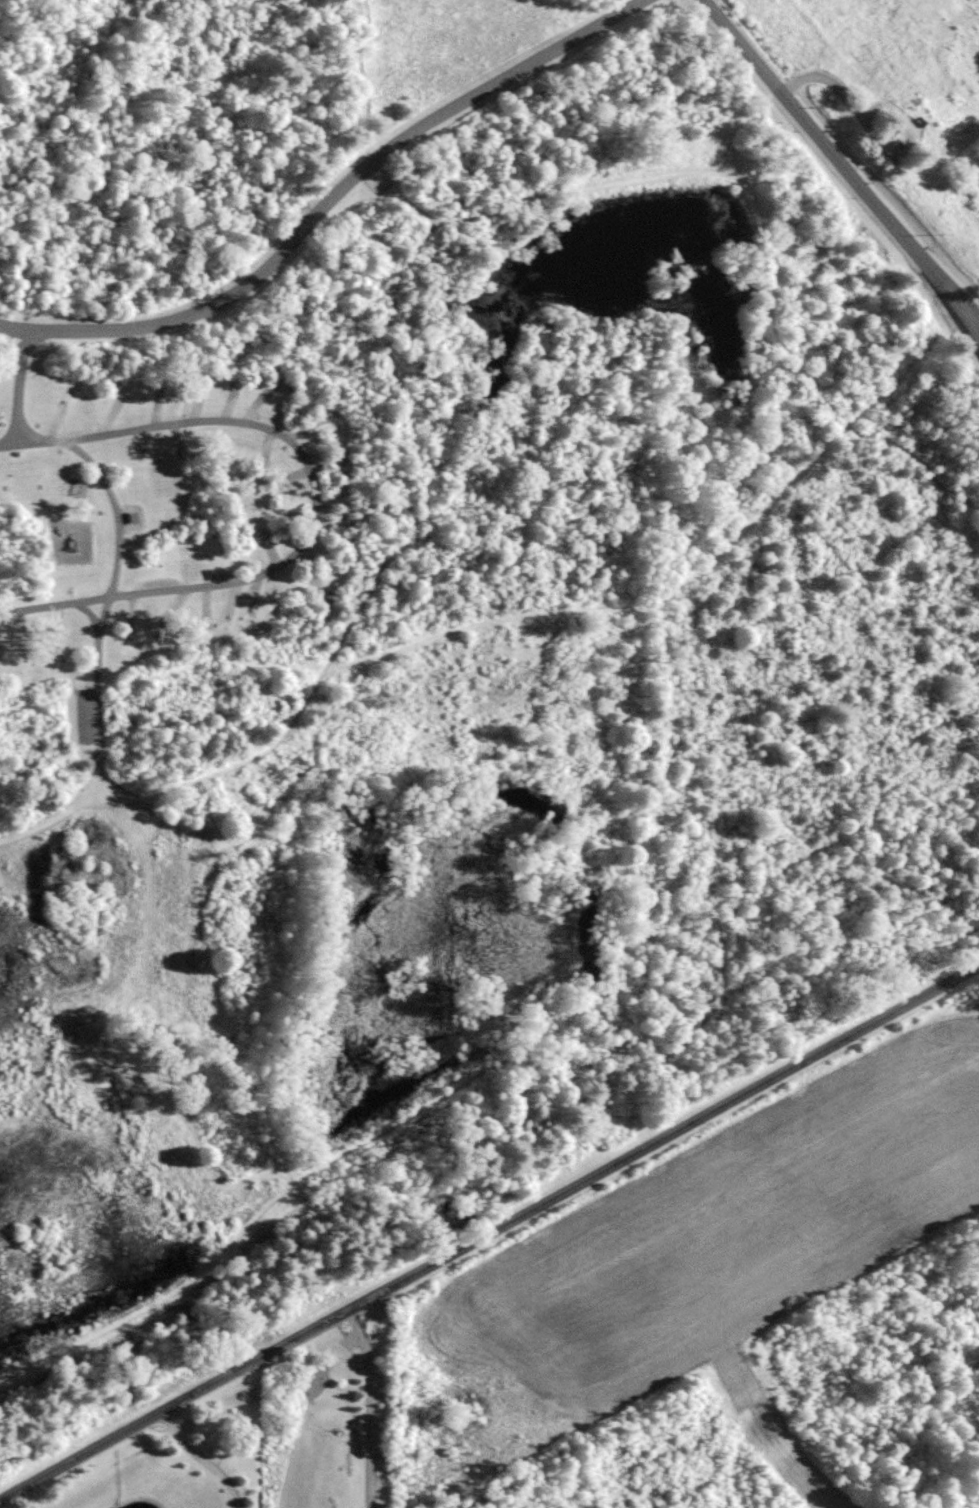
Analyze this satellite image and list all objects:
road: (899, 95)
road: (894, 109)
road: (689, 140)
road: (839, 161)
road: (337, 208)
road: (972, 292)
road: (966, 312)
road: (21, 382)
road: (452, 440)
road: (792, 466)
road: (315, 503)
road: (113, 578)
road: (361, 605)
road: (290, 973)
road: (487, 1112)
road: (489, 1232)
road: (205, 1459)

